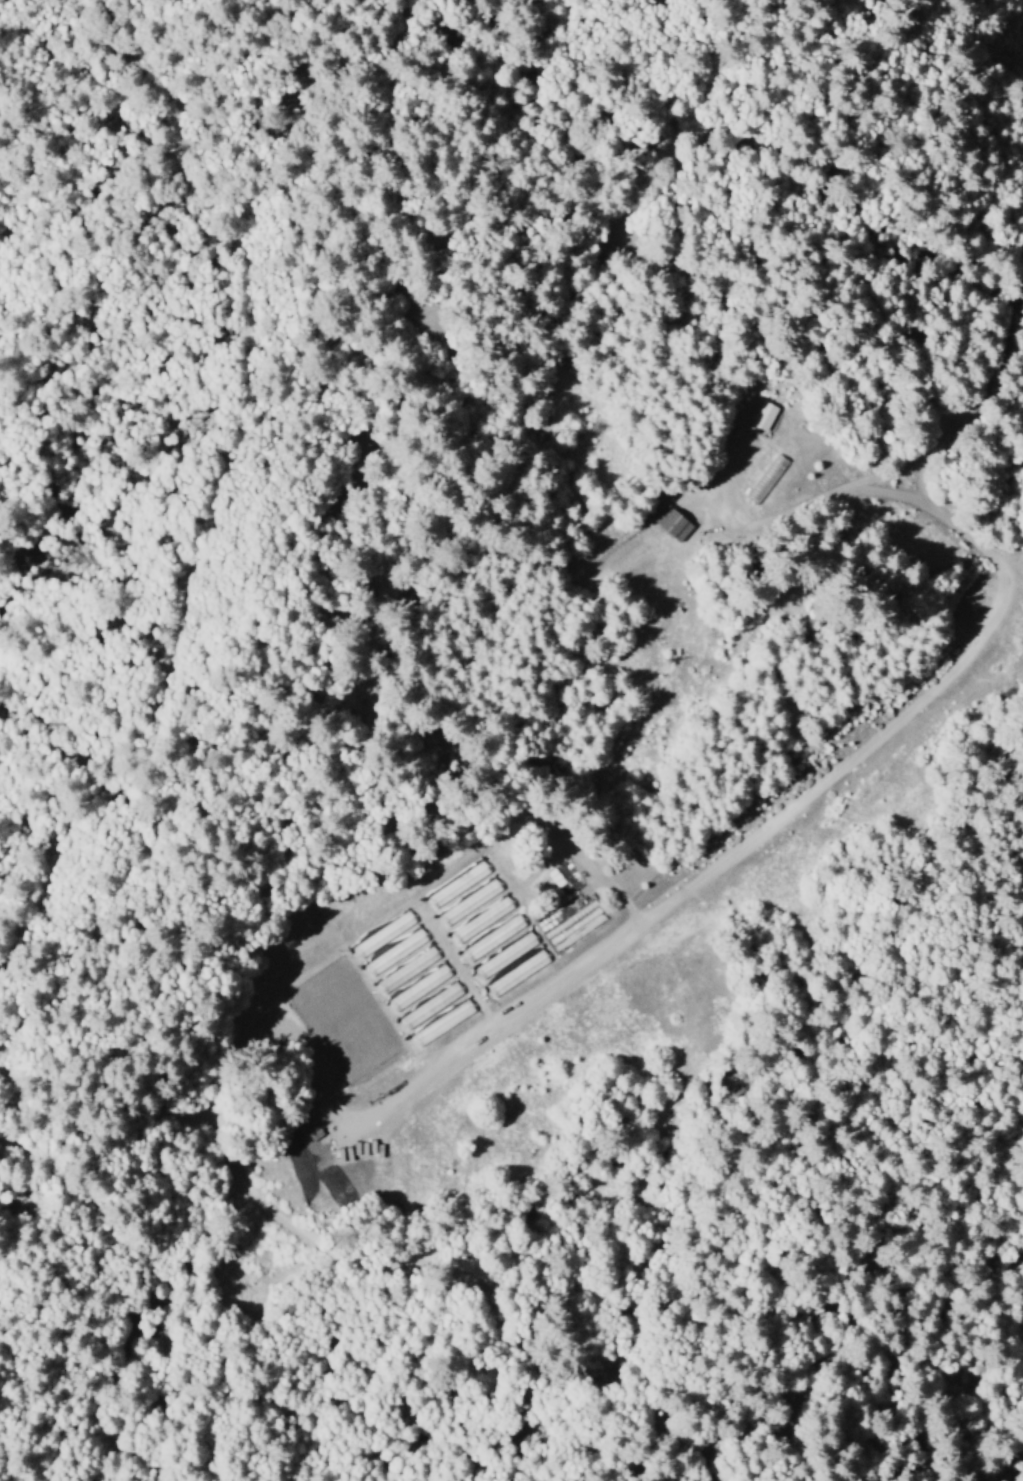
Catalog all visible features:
road: (683, 302)
road: (439, 358)
building: (757, 418)
road: (222, 477)
building: (766, 480)
building: (672, 525)
road: (586, 731)
airport runway: (670, 887)
building: (482, 921)
building: (493, 939)
building: (505, 957)
building: (407, 971)
building: (431, 1007)
building: (442, 1024)

